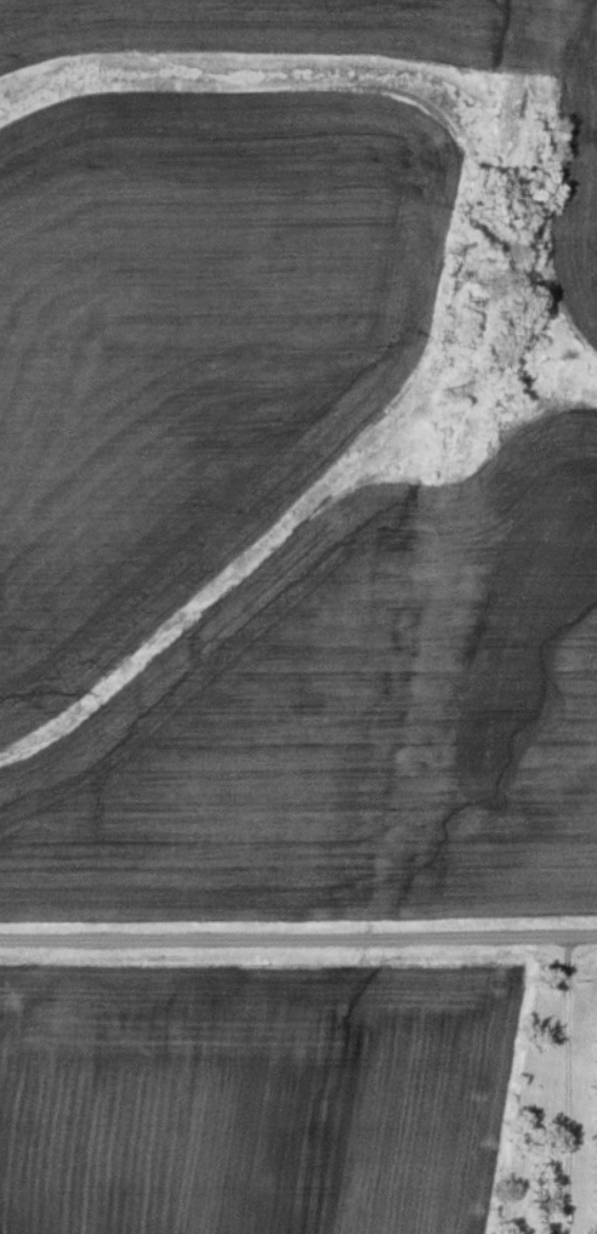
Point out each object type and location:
road: (298, 938)
road: (567, 1069)

